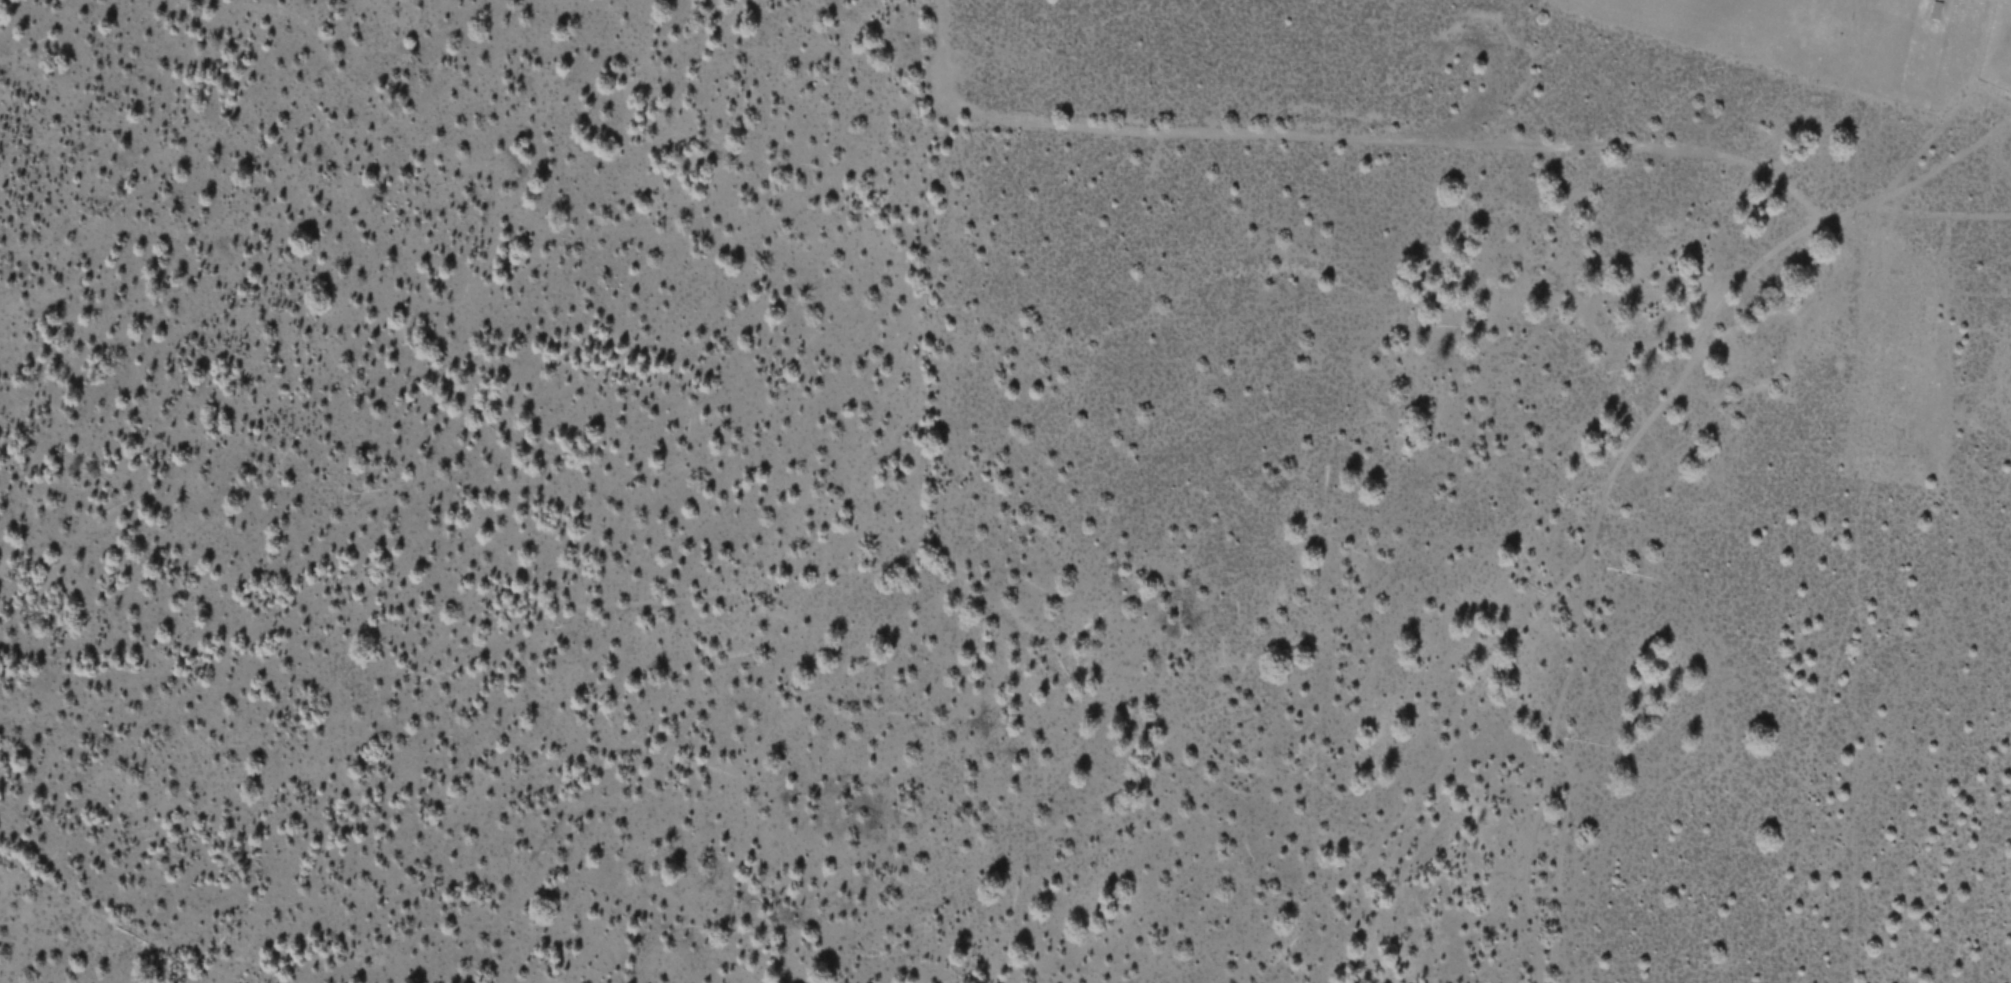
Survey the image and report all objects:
road: (1932, 173)
road: (1770, 251)
road: (1572, 634)

